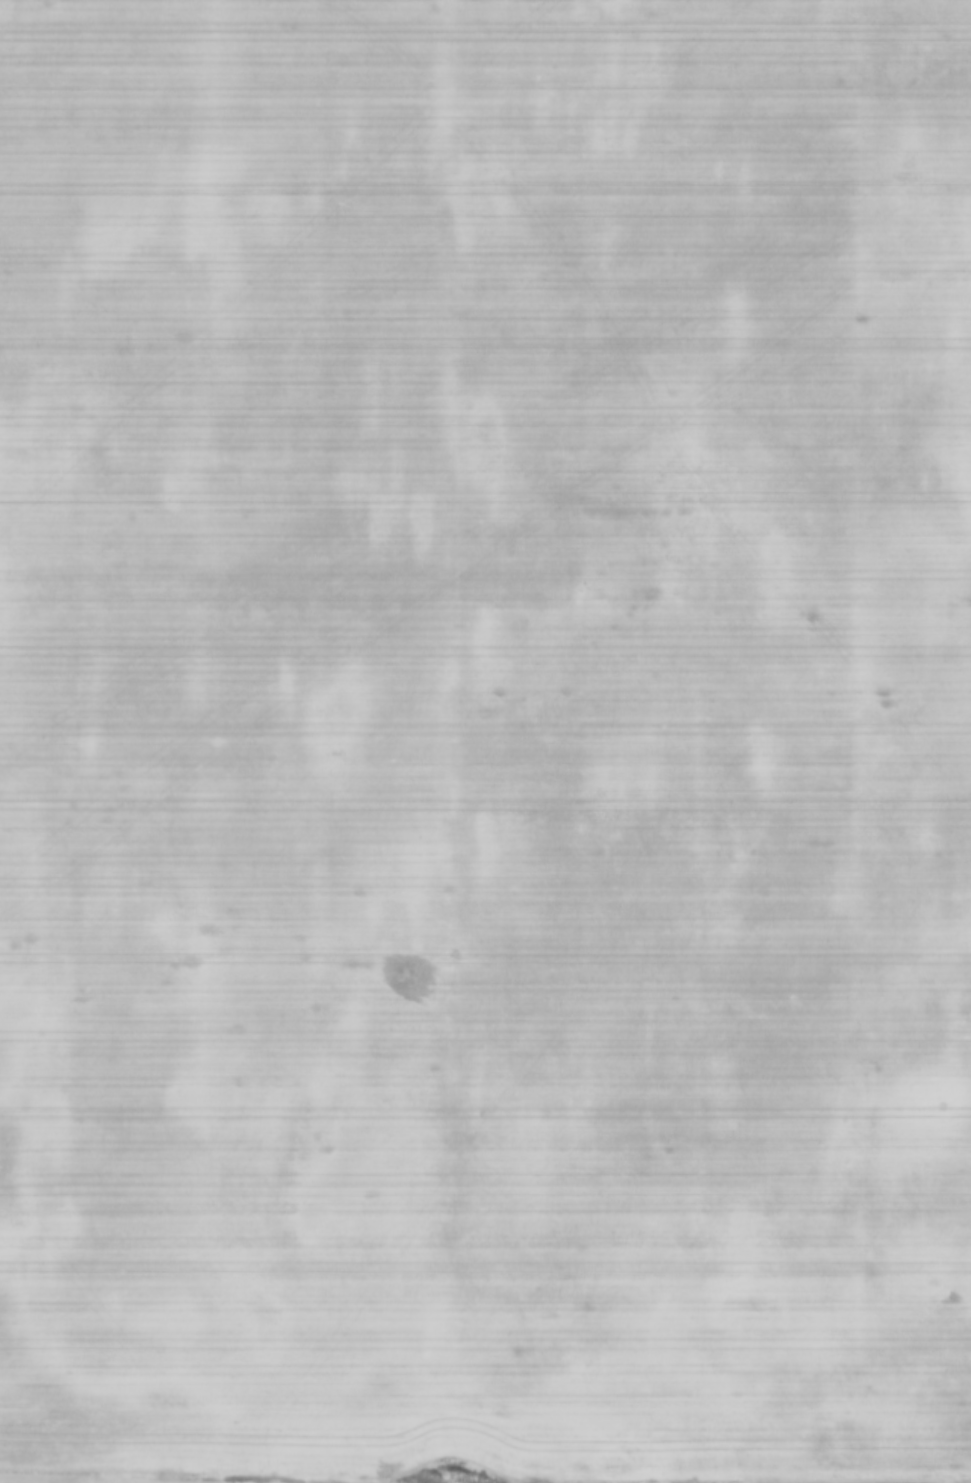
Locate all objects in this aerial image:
road: (181, 1473)

